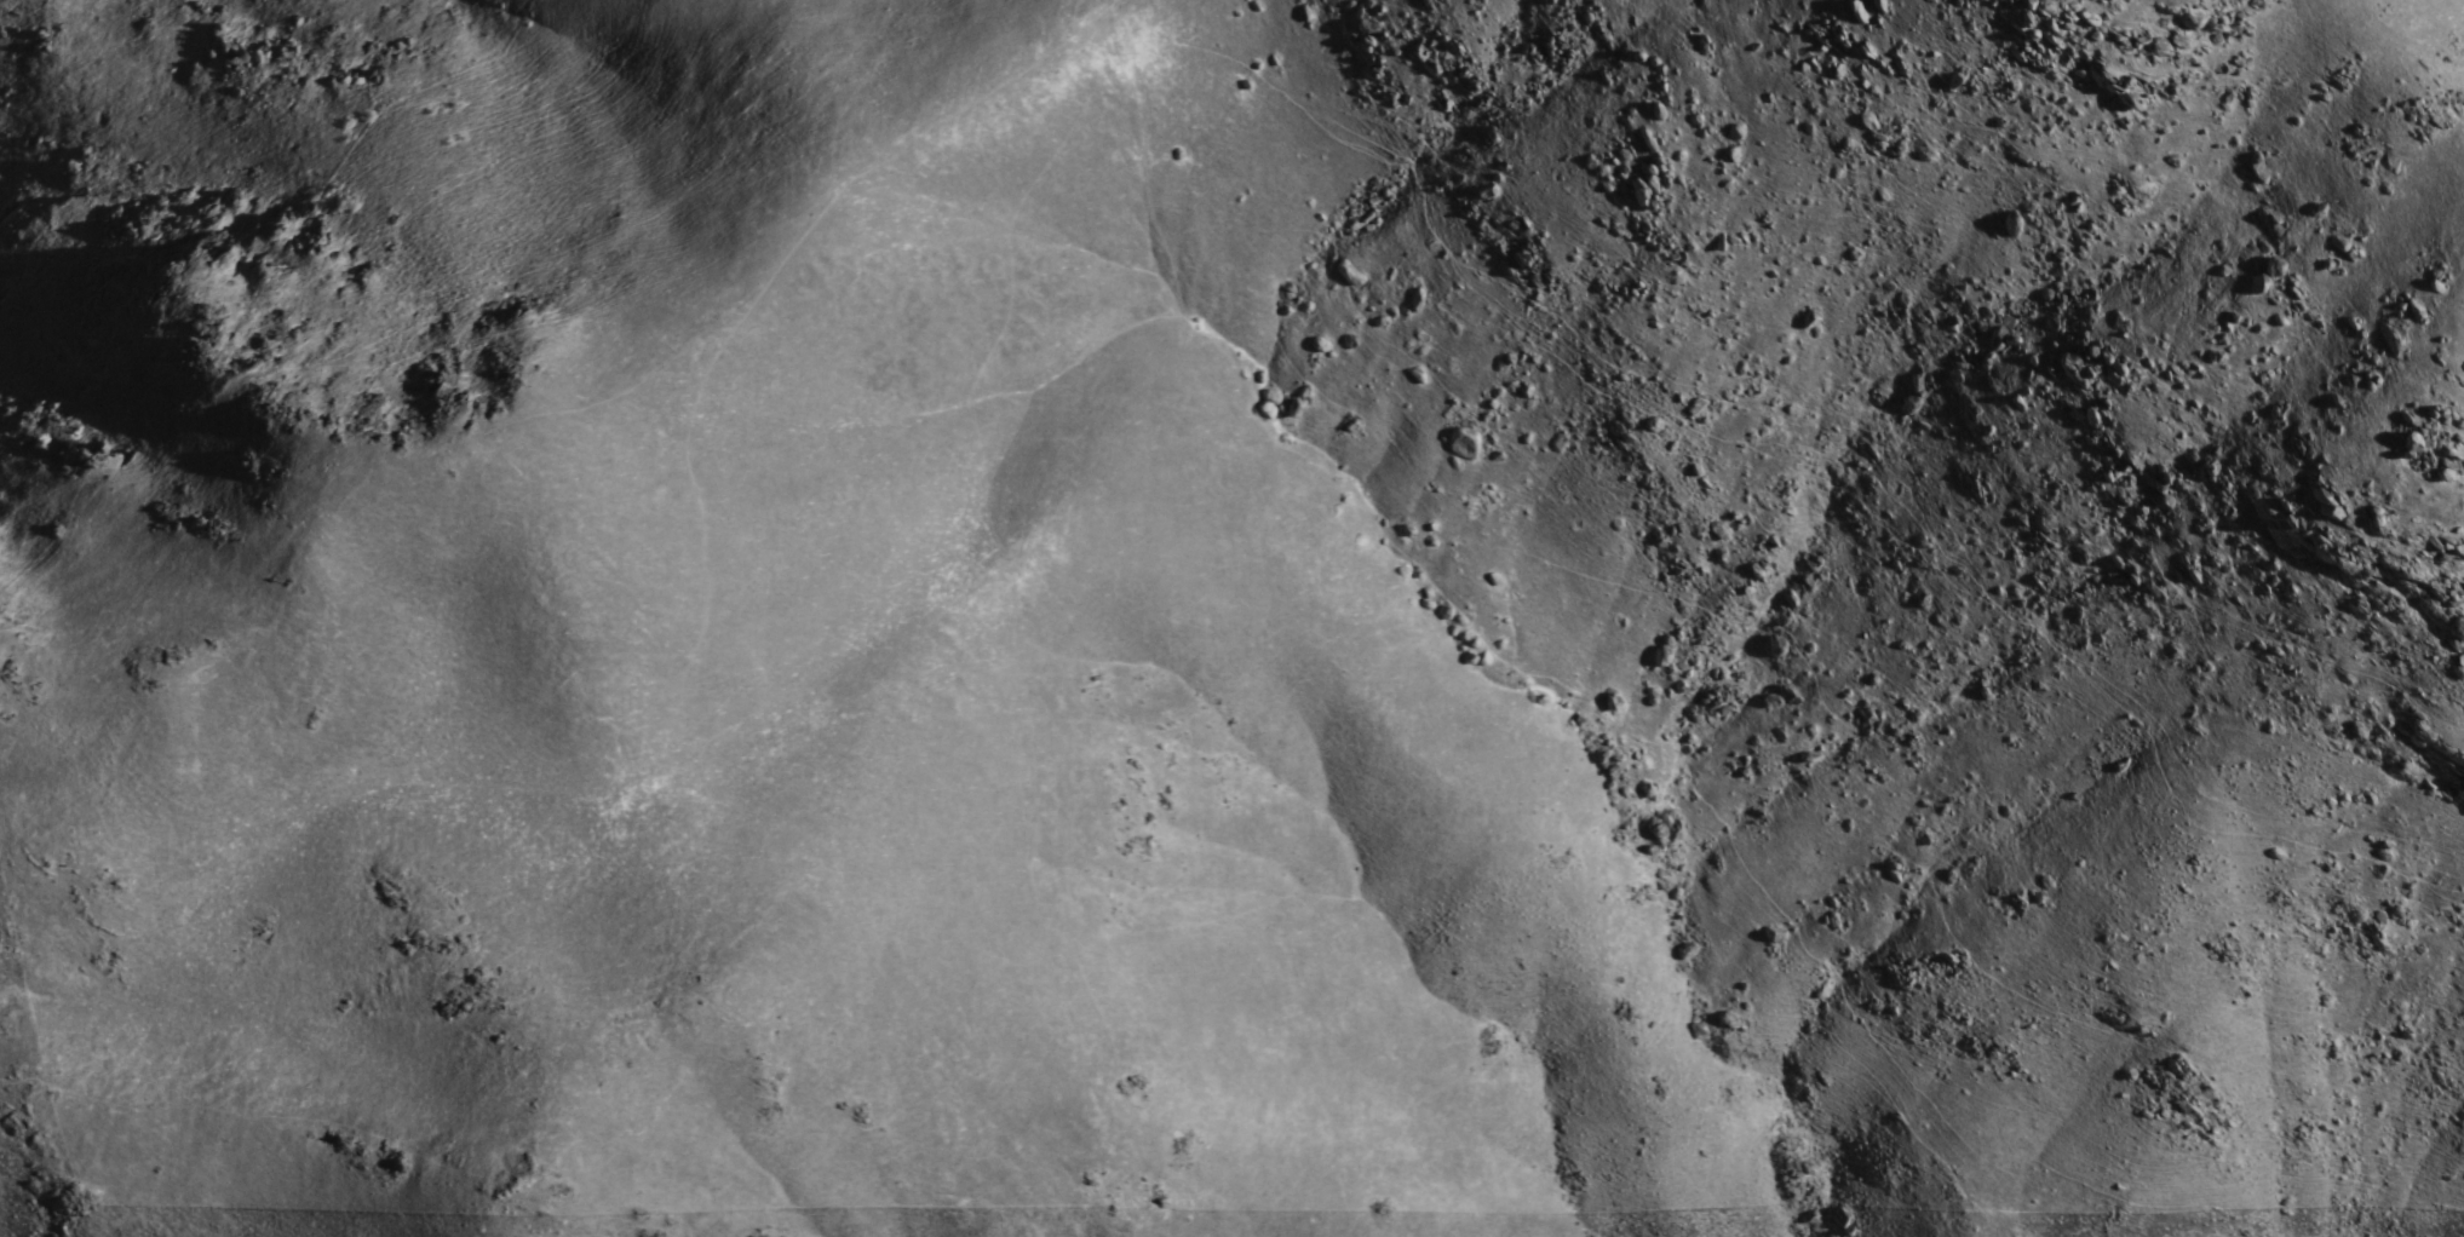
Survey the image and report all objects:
building: (2274, 269)

